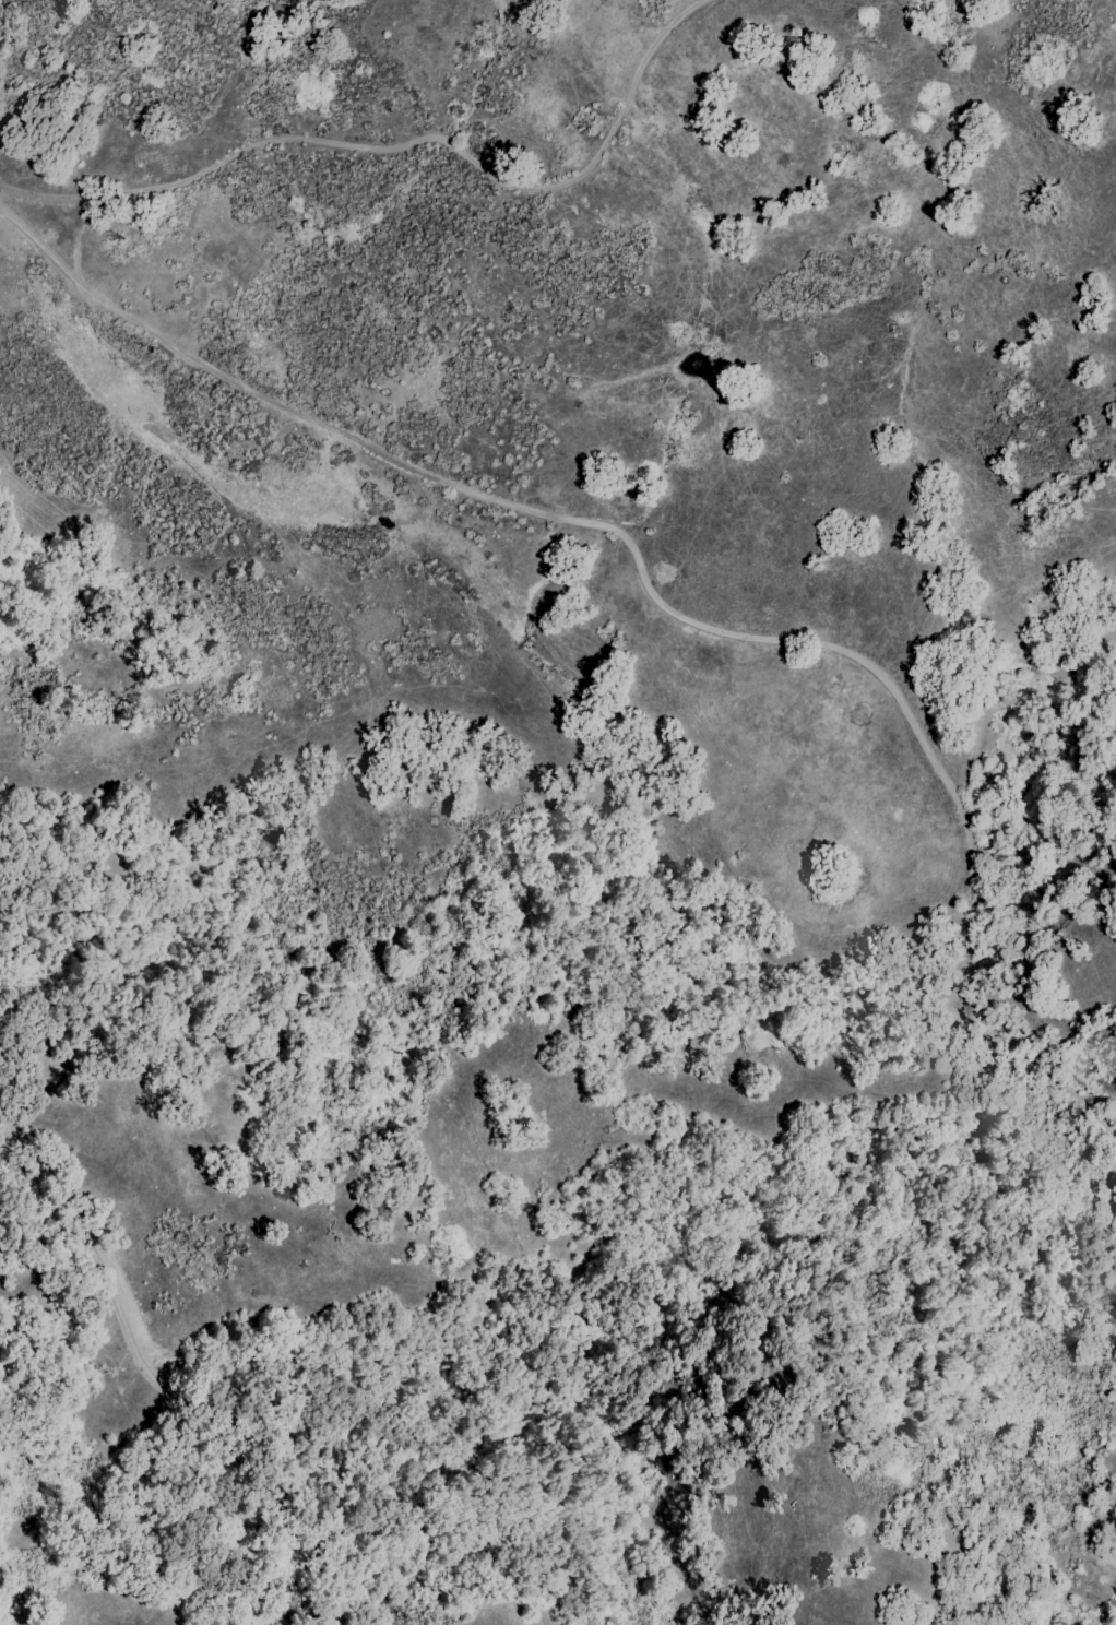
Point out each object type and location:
road: (406, 153)
road: (81, 244)
road: (694, 631)
road: (169, 1384)

